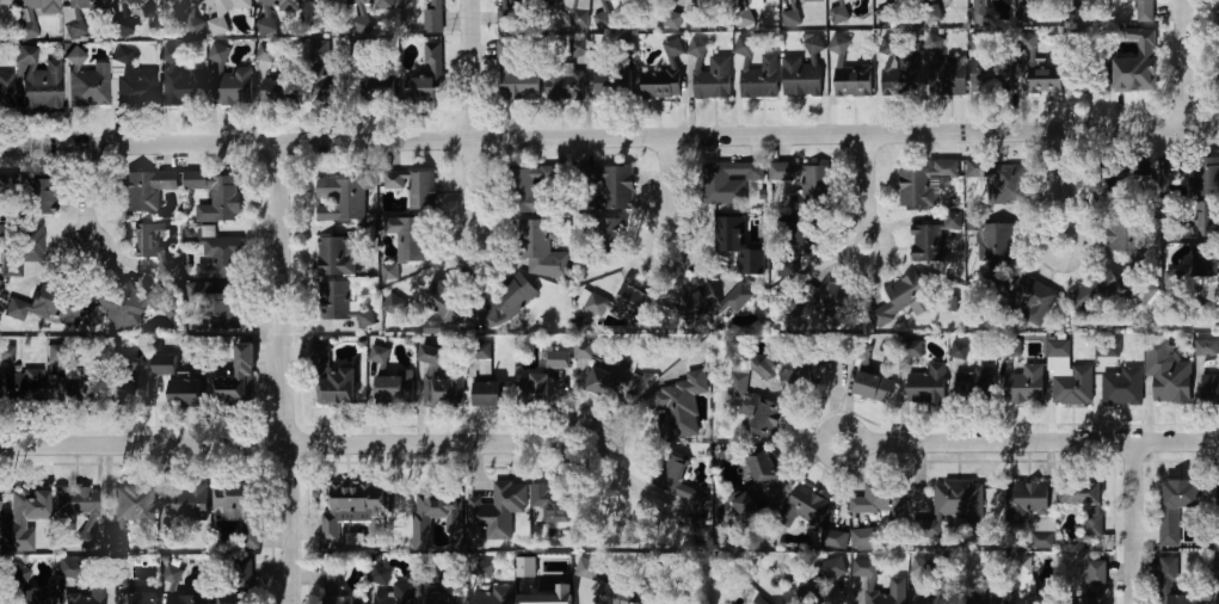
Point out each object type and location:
building: (1218, 0)
building: (326, 1)
building: (562, 1)
building: (812, 1)
building: (4, 2)
building: (761, 2)
building: (839, 2)
building: (87, 4)
building: (277, 4)
building: (374, 5)
building: (39, 7)
building: (978, 7)
building: (136, 10)
building: (506, 11)
building: (1143, 11)
building: (223, 12)
building: (932, 12)
building: (671, 13)
building: (839, 14)
building: (432, 16)
building: (190, 17)
building: (884, 17)
building: (579, 18)
building: (745, 18)
building: (790, 18)
building: (604, 19)
building: (123, 21)
building: (1218, 30)
building: (1137, 38)
building: (978, 41)
building: (579, 45)
building: (320, 50)
building: (1032, 50)
building: (432, 58)
road: (1187, 63)
building: (906, 66)
building: (804, 70)
building: (513, 72)
building: (709, 73)
building: (756, 73)
building: (944, 73)
building: (849, 74)
building: (1132, 74)
building: (665, 75)
building: (992, 75)
building: (612, 78)
building: (39, 79)
building: (133, 81)
building: (180, 81)
building: (1045, 81)
building: (565, 84)
building: (234, 86)
building: (1089, 86)
building: (88, 87)
building: (277, 90)
building: (322, 90)
building: (425, 90)
building: (6, 91)
building: (378, 93)
road: (469, 124)
road: (609, 137)
building: (1199, 174)
building: (1001, 181)
building: (727, 183)
building: (10, 184)
building: (924, 184)
building: (1132, 185)
building: (610, 187)
road: (1065, 187)
building: (413, 189)
building: (815, 189)
building: (144, 190)
building: (522, 191)
road: (866, 191)
road: (667, 193)
building: (29, 197)
road: (84, 198)
building: (341, 198)
building: (220, 201)
building: (1206, 220)
building: (1123, 230)
building: (806, 234)
building: (934, 238)
building: (406, 239)
building: (147, 240)
building: (996, 241)
building: (601, 244)
building: (737, 244)
building: (538, 247)
building: (20, 248)
building: (214, 253)
building: (332, 257)
building: (1203, 276)
building: (1174, 279)
building: (1094, 294)
building: (1140, 294)
building: (513, 295)
building: (154, 297)
building: (904, 297)
building: (832, 298)
building: (1033, 298)
building: (333, 301)
building: (443, 302)
building: (707, 303)
building: (49, 304)
building: (394, 304)
building: (618, 306)
building: (121, 307)
building: (222, 310)
building: (486, 318)
building: (367, 319)
building: (432, 326)
building: (1108, 345)
building: (1012, 346)
building: (1206, 347)
building: (910, 350)
building: (960, 350)
building: (7, 352)
building: (55, 353)
building: (380, 353)
building: (866, 355)
building: (558, 357)
building: (478, 359)
building: (767, 370)
building: (604, 371)
road: (279, 374)
building: (1166, 374)
building: (331, 380)
building: (439, 380)
building: (799, 380)
building: (234, 381)
building: (129, 383)
building: (178, 383)
building: (1023, 384)
building: (928, 386)
building: (1071, 386)
building: (21, 387)
building: (971, 387)
building: (1121, 387)
building: (1209, 387)
building: (73, 388)
building: (874, 388)
building: (393, 389)
building: (534, 392)
building: (491, 395)
building: (678, 406)
building: (753, 406)
road: (1028, 443)
road: (290, 445)
building: (763, 467)
building: (681, 487)
building: (1217, 494)
building: (874, 499)
building: (1085, 503)
building: (29, 504)
building: (186, 504)
building: (552, 504)
building: (1029, 505)
building: (952, 506)
building: (75, 507)
building: (746, 507)
building: (1175, 507)
building: (129, 509)
building: (807, 509)
building: (353, 510)
building: (510, 510)
building: (240, 511)
building: (427, 516)
road: (1135, 523)
building: (833, 538)
building: (861, 538)
building: (353, 540)
building: (1022, 563)
building: (922, 565)
building: (66, 567)
building: (586, 567)
building: (482, 569)
building: (119, 573)
building: (242, 573)
building: (435, 573)
building: (172, 575)
building: (378, 575)
building: (17, 577)
building: (538, 583)
building: (1095, 583)
building: (817, 584)
building: (1170, 584)
building: (897, 585)
building: (142, 587)
building: (334, 587)
building: (396, 593)
building: (616, 594)
building: (86, 596)
building: (494, 596)
building: (548, 596)
building: (140, 598)
building: (191, 599)
building: (236, 599)
building: (985, 599)
building: (442, 600)
building: (932, 600)
building: (1034, 600)
building: (1218, 600)
building: (761, 602)

